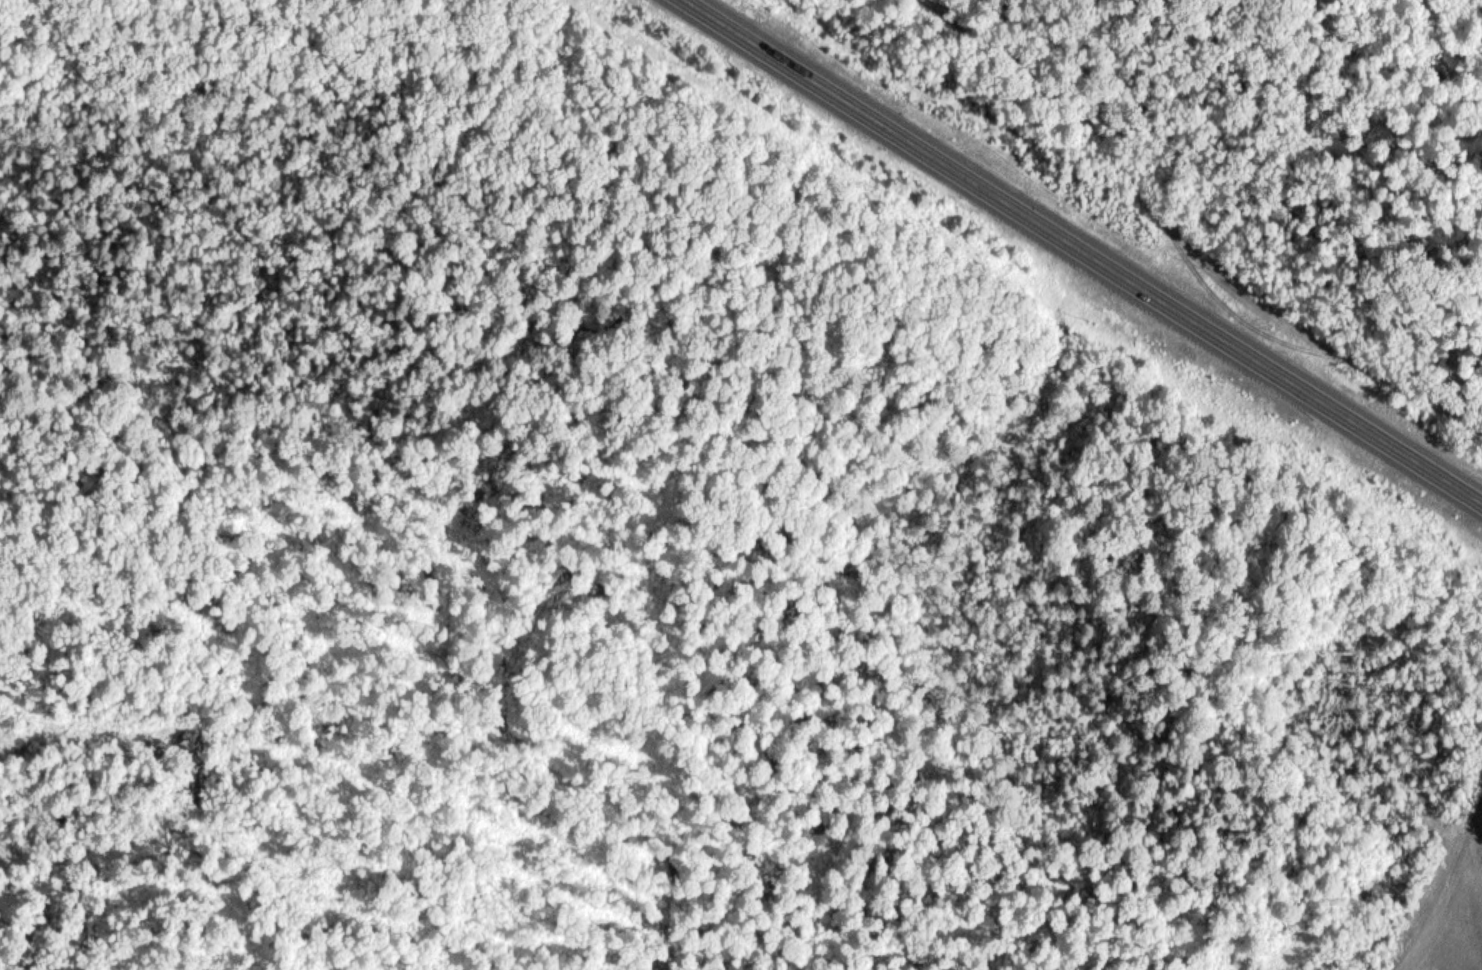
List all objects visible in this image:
road: (1085, 249)
road: (1443, 917)

